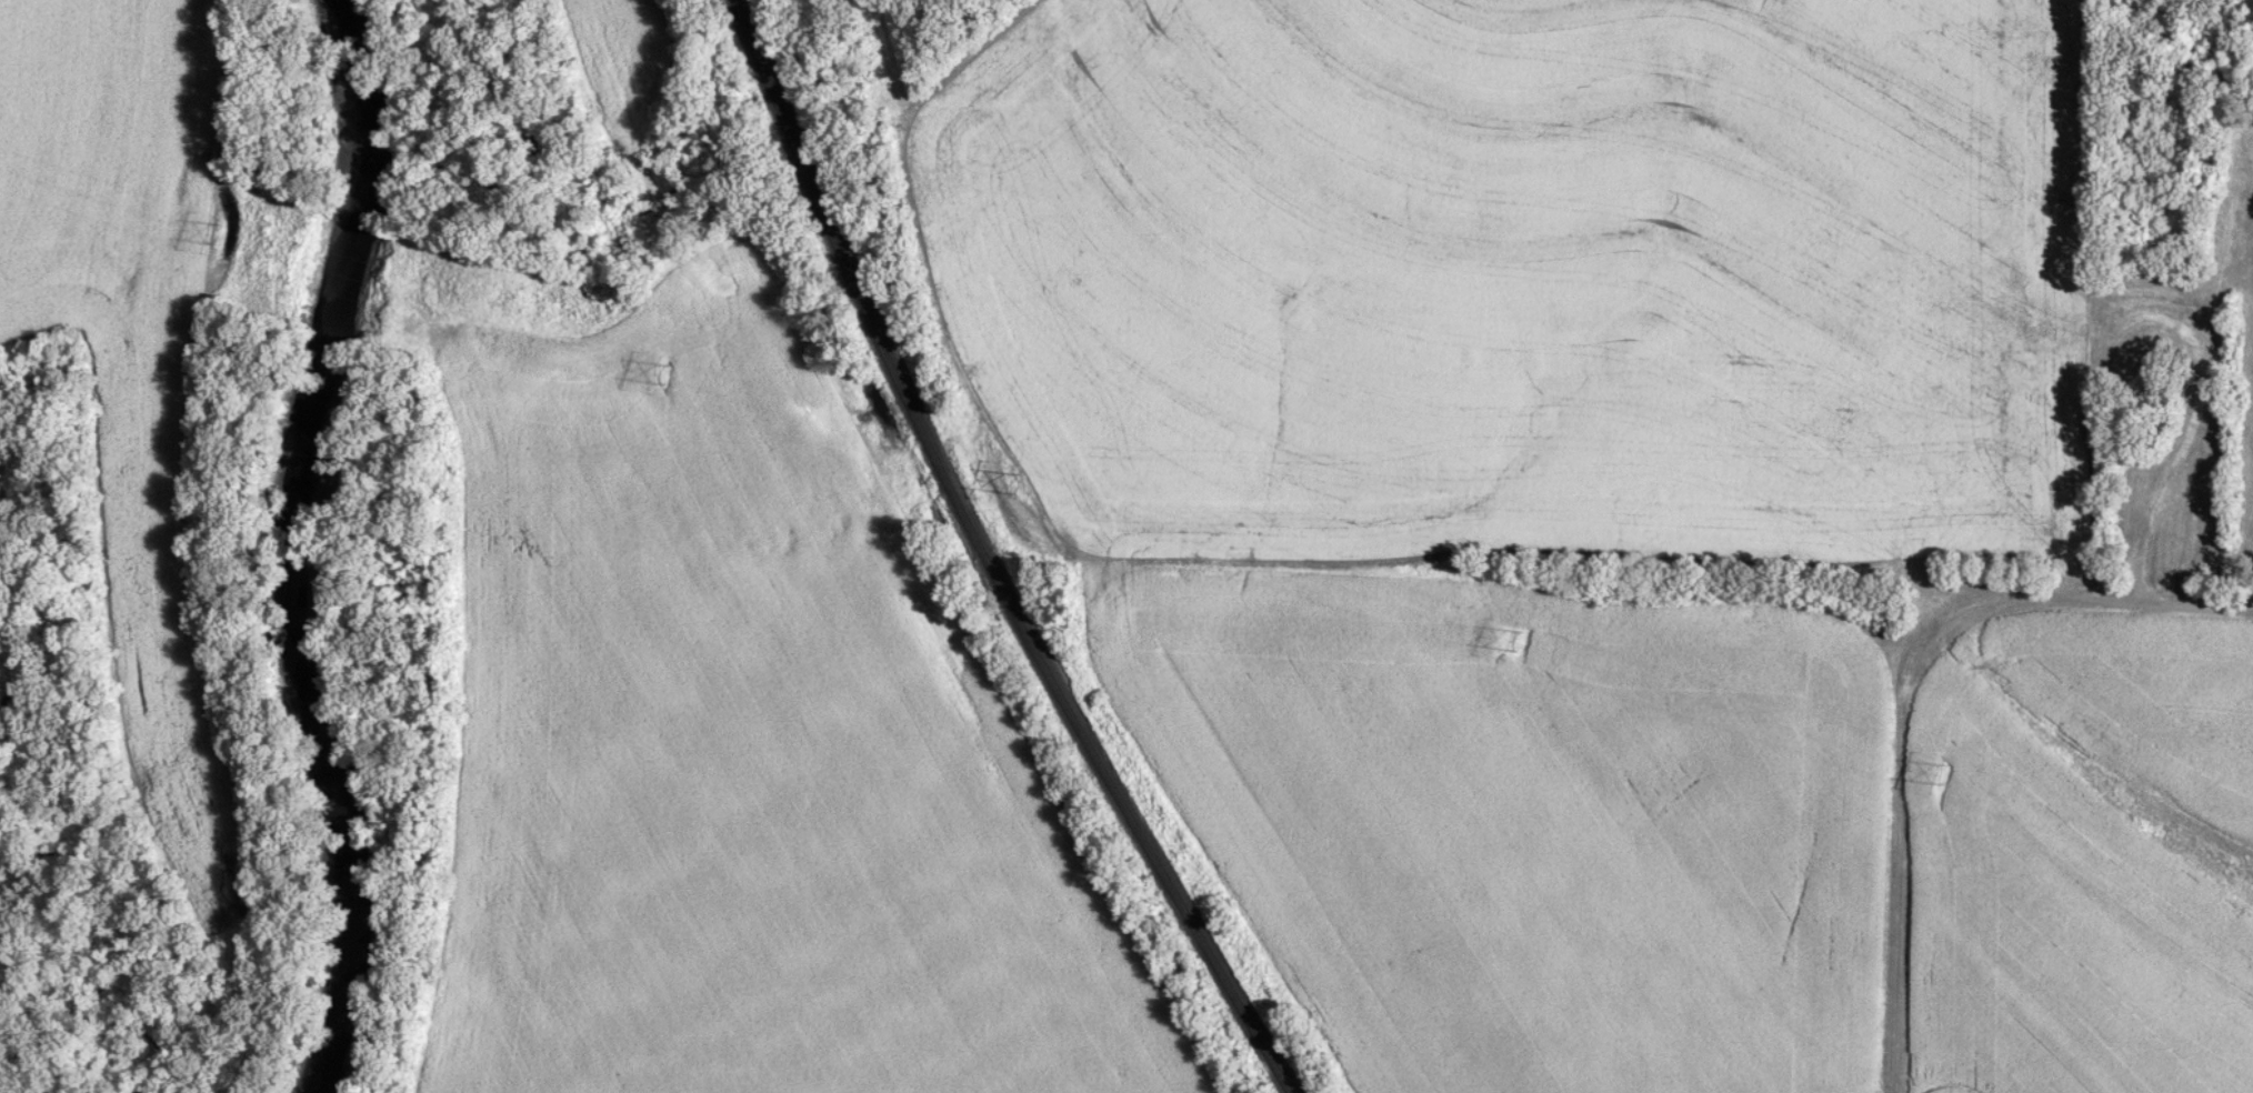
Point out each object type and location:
power tower: (219, 231)
power tower: (669, 373)
power tower: (1020, 478)
river: (290, 548)
railway: (985, 560)
power tower: (1519, 639)
road: (1901, 690)
power tower: (1946, 773)

